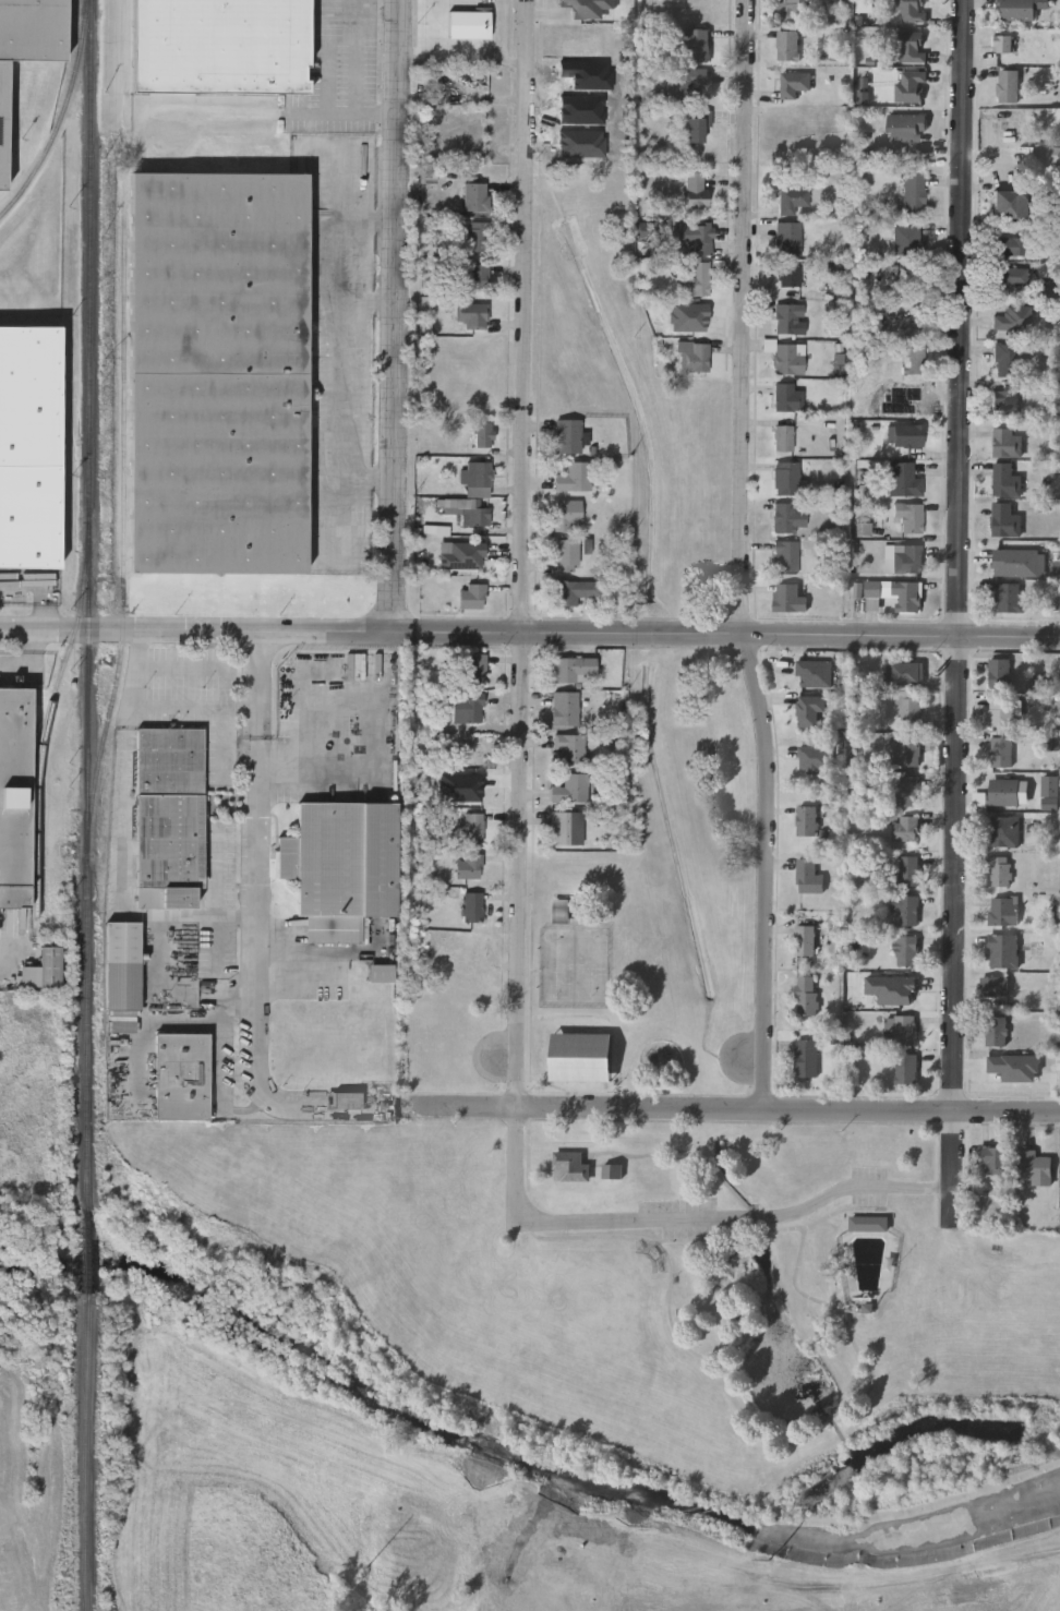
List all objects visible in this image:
building: (794, 9)
building: (912, 10)
building: (1017, 10)
building: (469, 24)
building: (1003, 43)
building: (787, 44)
building: (696, 45)
building: (220, 46)
building: (911, 46)
building: (27, 48)
road: (358, 57)
building: (694, 75)
building: (795, 82)
building: (911, 85)
building: (1008, 85)
road: (341, 112)
railway: (62, 116)
building: (1053, 117)
building: (697, 123)
building: (905, 125)
building: (1048, 151)
building: (696, 188)
building: (914, 191)
building: (475, 195)
building: (792, 199)
building: (1010, 203)
building: (478, 236)
building: (699, 236)
building: (787, 238)
building: (906, 239)
building: (1008, 244)
road: (348, 262)
building: (473, 275)
building: (1008, 275)
building: (788, 276)
building: (697, 278)
building: (471, 314)
road: (395, 315)
building: (1013, 316)
building: (788, 317)
building: (692, 354)
building: (786, 354)
building: (913, 358)
building: (1004, 358)
building: (219, 373)
building: (788, 396)
building: (1004, 400)
road: (348, 409)
building: (483, 433)
building: (568, 434)
building: (905, 434)
building: (783, 436)
building: (1007, 442)
building: (29, 447)
building: (575, 476)
building: (477, 477)
building: (786, 477)
building: (903, 478)
building: (1007, 479)
building: (468, 509)
building: (566, 513)
building: (910, 516)
building: (787, 517)
building: (1005, 519)
railway: (124, 534)
building: (461, 553)
building: (567, 554)
road: (522, 555)
road: (739, 556)
building: (786, 556)
building: (907, 557)
building: (571, 590)
building: (896, 592)
building: (471, 596)
building: (1009, 597)
building: (788, 598)
railway: (87, 602)
road: (956, 608)
road: (529, 635)
road: (27, 657)
building: (570, 666)
building: (472, 668)
building: (804, 670)
building: (905, 671)
building: (999, 673)
road: (161, 706)
building: (467, 706)
building: (564, 707)
building: (908, 708)
building: (808, 710)
building: (1000, 711)
road: (131, 717)
railway: (47, 721)
road: (225, 741)
building: (568, 747)
building: (906, 750)
building: (1000, 752)
building: (809, 760)
road: (323, 765)
building: (570, 786)
building: (906, 790)
building: (1003, 791)
building: (14, 796)
building: (168, 817)
building: (806, 819)
building: (563, 826)
road: (125, 827)
building: (472, 827)
building: (904, 828)
building: (1004, 831)
building: (468, 865)
building: (340, 867)
building: (907, 869)
building: (1000, 870)
road: (216, 871)
building: (807, 876)
building: (471, 905)
building: (905, 907)
building: (1003, 911)
building: (561, 914)
road: (200, 915)
road: (261, 923)
building: (1, 925)
building: (804, 939)
building: (906, 949)
building: (1003, 950)
building: (121, 965)
building: (225, 965)
building: (46, 971)
building: (993, 985)
building: (806, 995)
building: (904, 1029)
building: (995, 1030)
park: (639, 1038)
building: (581, 1056)
building: (806, 1057)
building: (905, 1067)
building: (181, 1077)
road: (732, 1111)
building: (992, 1159)
building: (568, 1166)
building: (1035, 1167)
road: (685, 1219)
building: (867, 1224)
railway: (87, 1249)
railway: (87, 1451)
power tower: (772, 1562)
power tower: (368, 1570)

